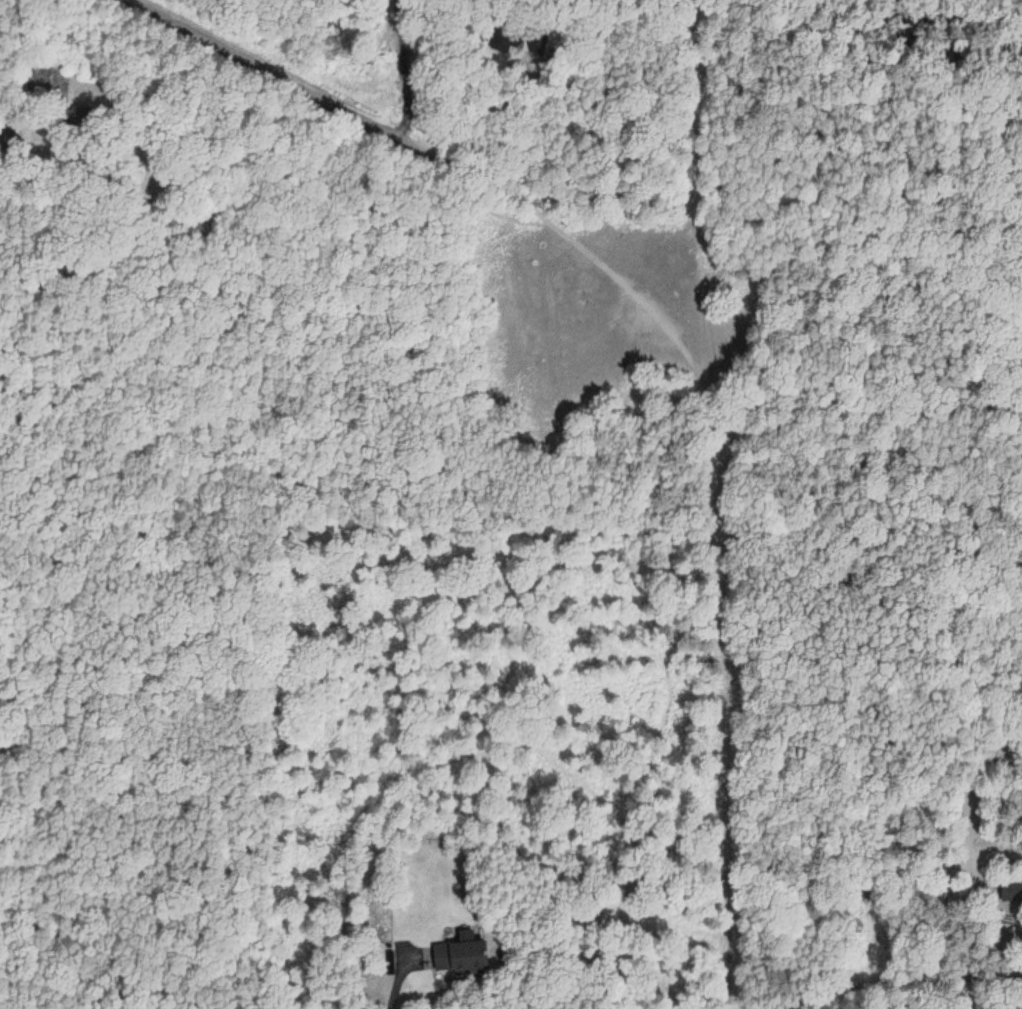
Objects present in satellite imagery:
road: (258, 67)
building: (458, 955)

